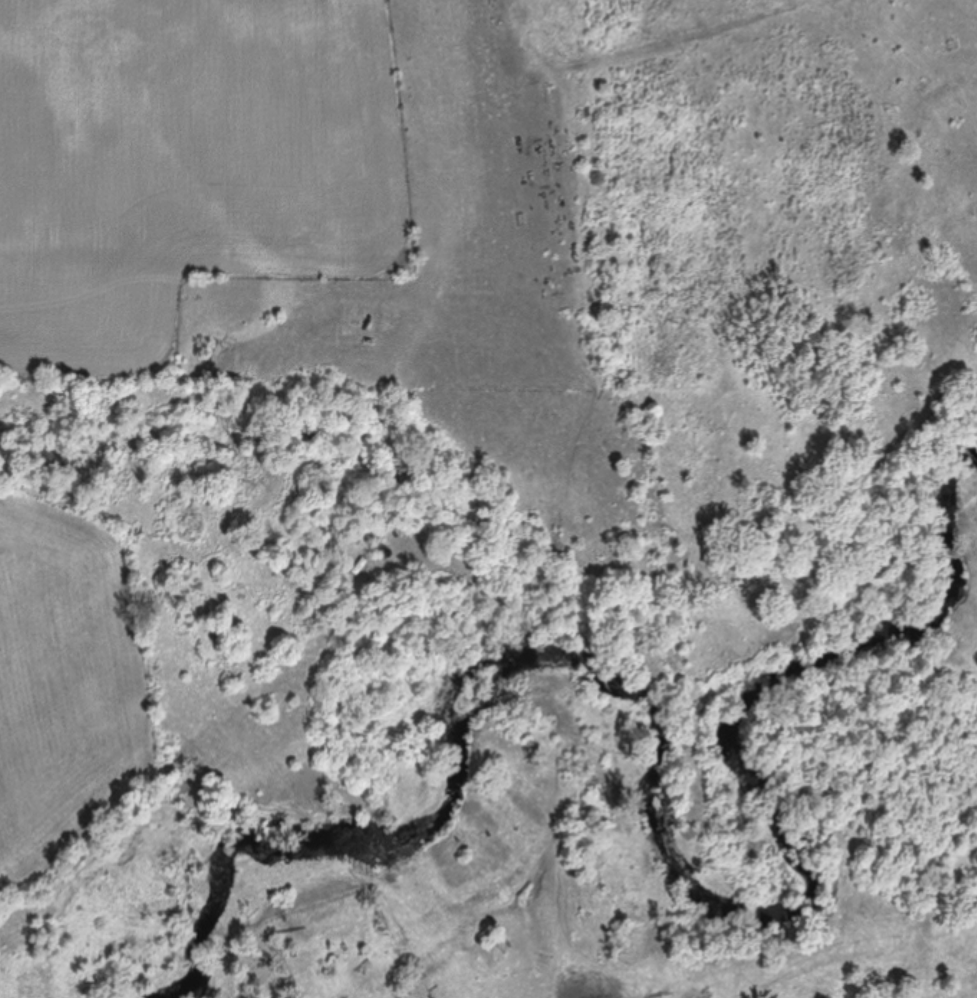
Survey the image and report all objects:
road: (919, 821)
road: (934, 914)

